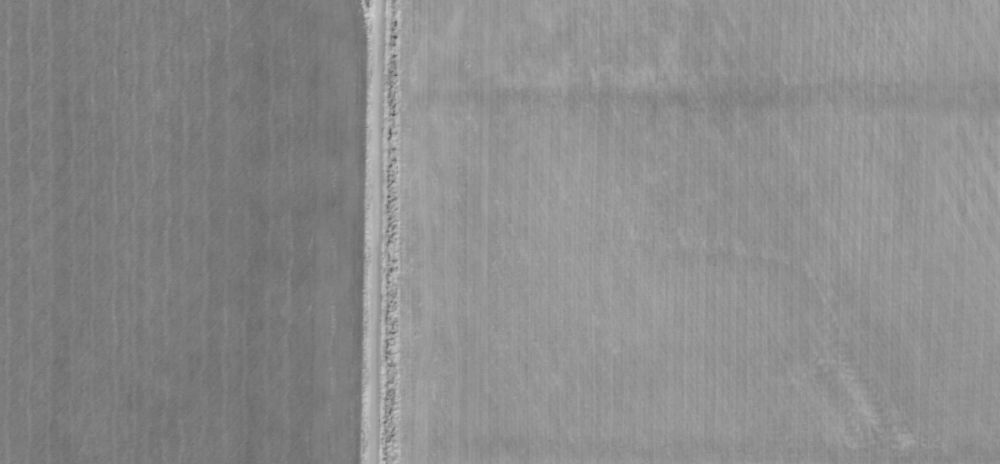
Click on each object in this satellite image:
road: (380, 231)

